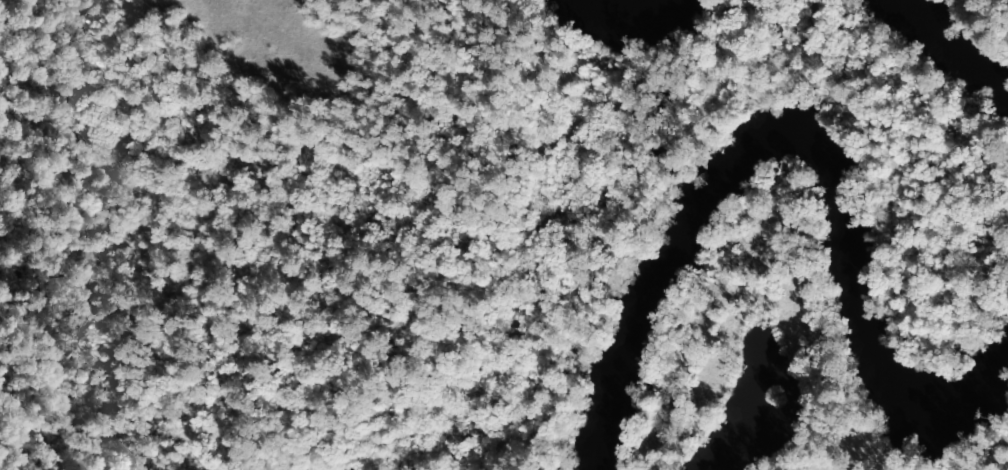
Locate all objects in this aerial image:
river: (961, 46)
river: (796, 129)

